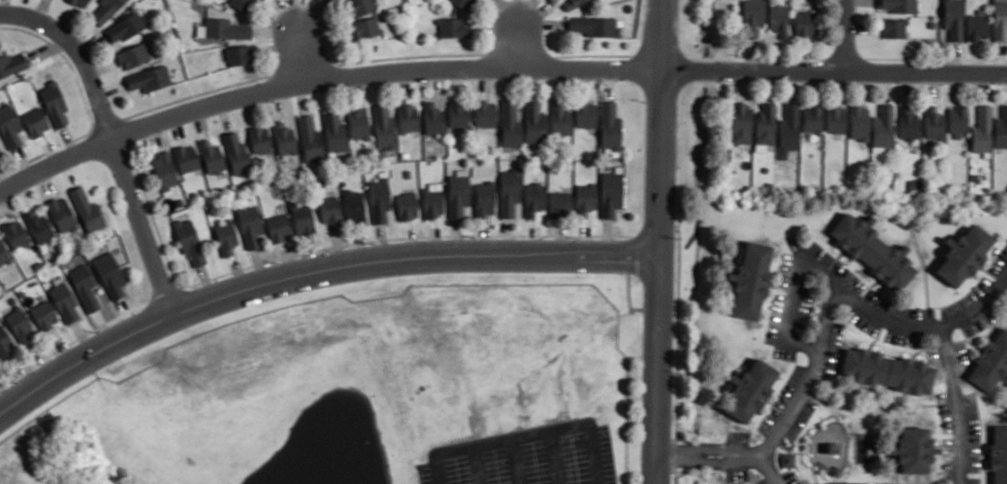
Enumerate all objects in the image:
building: (79, 3)
building: (463, 3)
building: (573, 3)
building: (241, 5)
building: (899, 5)
building: (360, 7)
building: (104, 10)
road: (510, 10)
road: (1, 13)
building: (751, 17)
building: (777, 19)
building: (954, 20)
building: (1000, 20)
building: (804, 23)
building: (593, 25)
building: (893, 26)
building: (124, 27)
building: (366, 27)
building: (455, 27)
building: (978, 27)
building: (224, 28)
road: (845, 34)
road: (519, 44)
building: (133, 54)
building: (238, 54)
road: (303, 57)
building: (12, 64)
road: (493, 67)
building: (148, 78)
street lamp: (473, 79)
road: (406, 80)
road: (607, 82)
building: (53, 104)
building: (458, 112)
building: (486, 113)
building: (586, 115)
building: (408, 117)
building: (433, 117)
building: (559, 119)
building: (811, 119)
building: (834, 119)
building: (35, 121)
building: (511, 121)
building: (908, 121)
building: (958, 121)
building: (739, 122)
building: (858, 122)
building: (933, 122)
building: (534, 123)
building: (359, 124)
building: (609, 125)
building: (882, 125)
building: (763, 126)
building: (9, 127)
building: (384, 127)
building: (1001, 128)
building: (787, 129)
building: (982, 129)
building: (334, 131)
building: (260, 138)
building: (285, 138)
road: (113, 139)
building: (311, 139)
building: (237, 153)
building: (0, 155)
building: (212, 157)
building: (187, 158)
building: (540, 163)
building: (165, 171)
building: (976, 176)
building: (914, 184)
building: (939, 185)
building: (458, 192)
building: (509, 193)
building: (610, 193)
building: (584, 197)
building: (484, 198)
building: (533, 198)
building: (433, 199)
building: (379, 200)
building: (558, 204)
building: (407, 205)
building: (355, 207)
building: (87, 210)
building: (331, 211)
building: (62, 214)
building: (303, 217)
building: (251, 226)
building: (40, 227)
building: (279, 227)
building: (16, 234)
road: (606, 236)
building: (227, 237)
building: (190, 241)
road: (382, 241)
road: (411, 242)
road: (658, 242)
building: (871, 251)
building: (4, 253)
road: (312, 253)
building: (964, 254)
parking lot: (1000, 261)
building: (38, 264)
road: (313, 270)
road: (991, 272)
building: (110, 274)
parking lot: (849, 276)
building: (751, 279)
road: (207, 281)
building: (85, 287)
street lamp: (783, 290)
parking lot: (967, 297)
road: (851, 298)
building: (64, 302)
building: (44, 315)
parking lot: (862, 321)
building: (19, 325)
road: (83, 337)
building: (5, 342)
building: (991, 360)
building: (887, 369)
road: (808, 378)
parking lot: (788, 385)
building: (750, 388)
road: (956, 402)
road: (776, 407)
parking lot: (944, 410)
parking lot: (768, 419)
parking lot: (797, 421)
street lamp: (949, 433)
road: (526, 434)
parking lot: (734, 436)
road: (704, 447)
building: (913, 448)
street lamp: (713, 454)
building: (999, 454)
parking lot: (525, 456)
road: (553, 456)
street lamp: (778, 458)
building: (788, 458)
road: (514, 460)
road: (704, 460)
road: (475, 464)
road: (769, 468)
building: (835, 470)
street lamp: (873, 479)
parking lot: (973, 480)
parking lot: (844, 482)
parking lot: (882, 482)
parking lot: (914, 482)
building: (749, 483)

